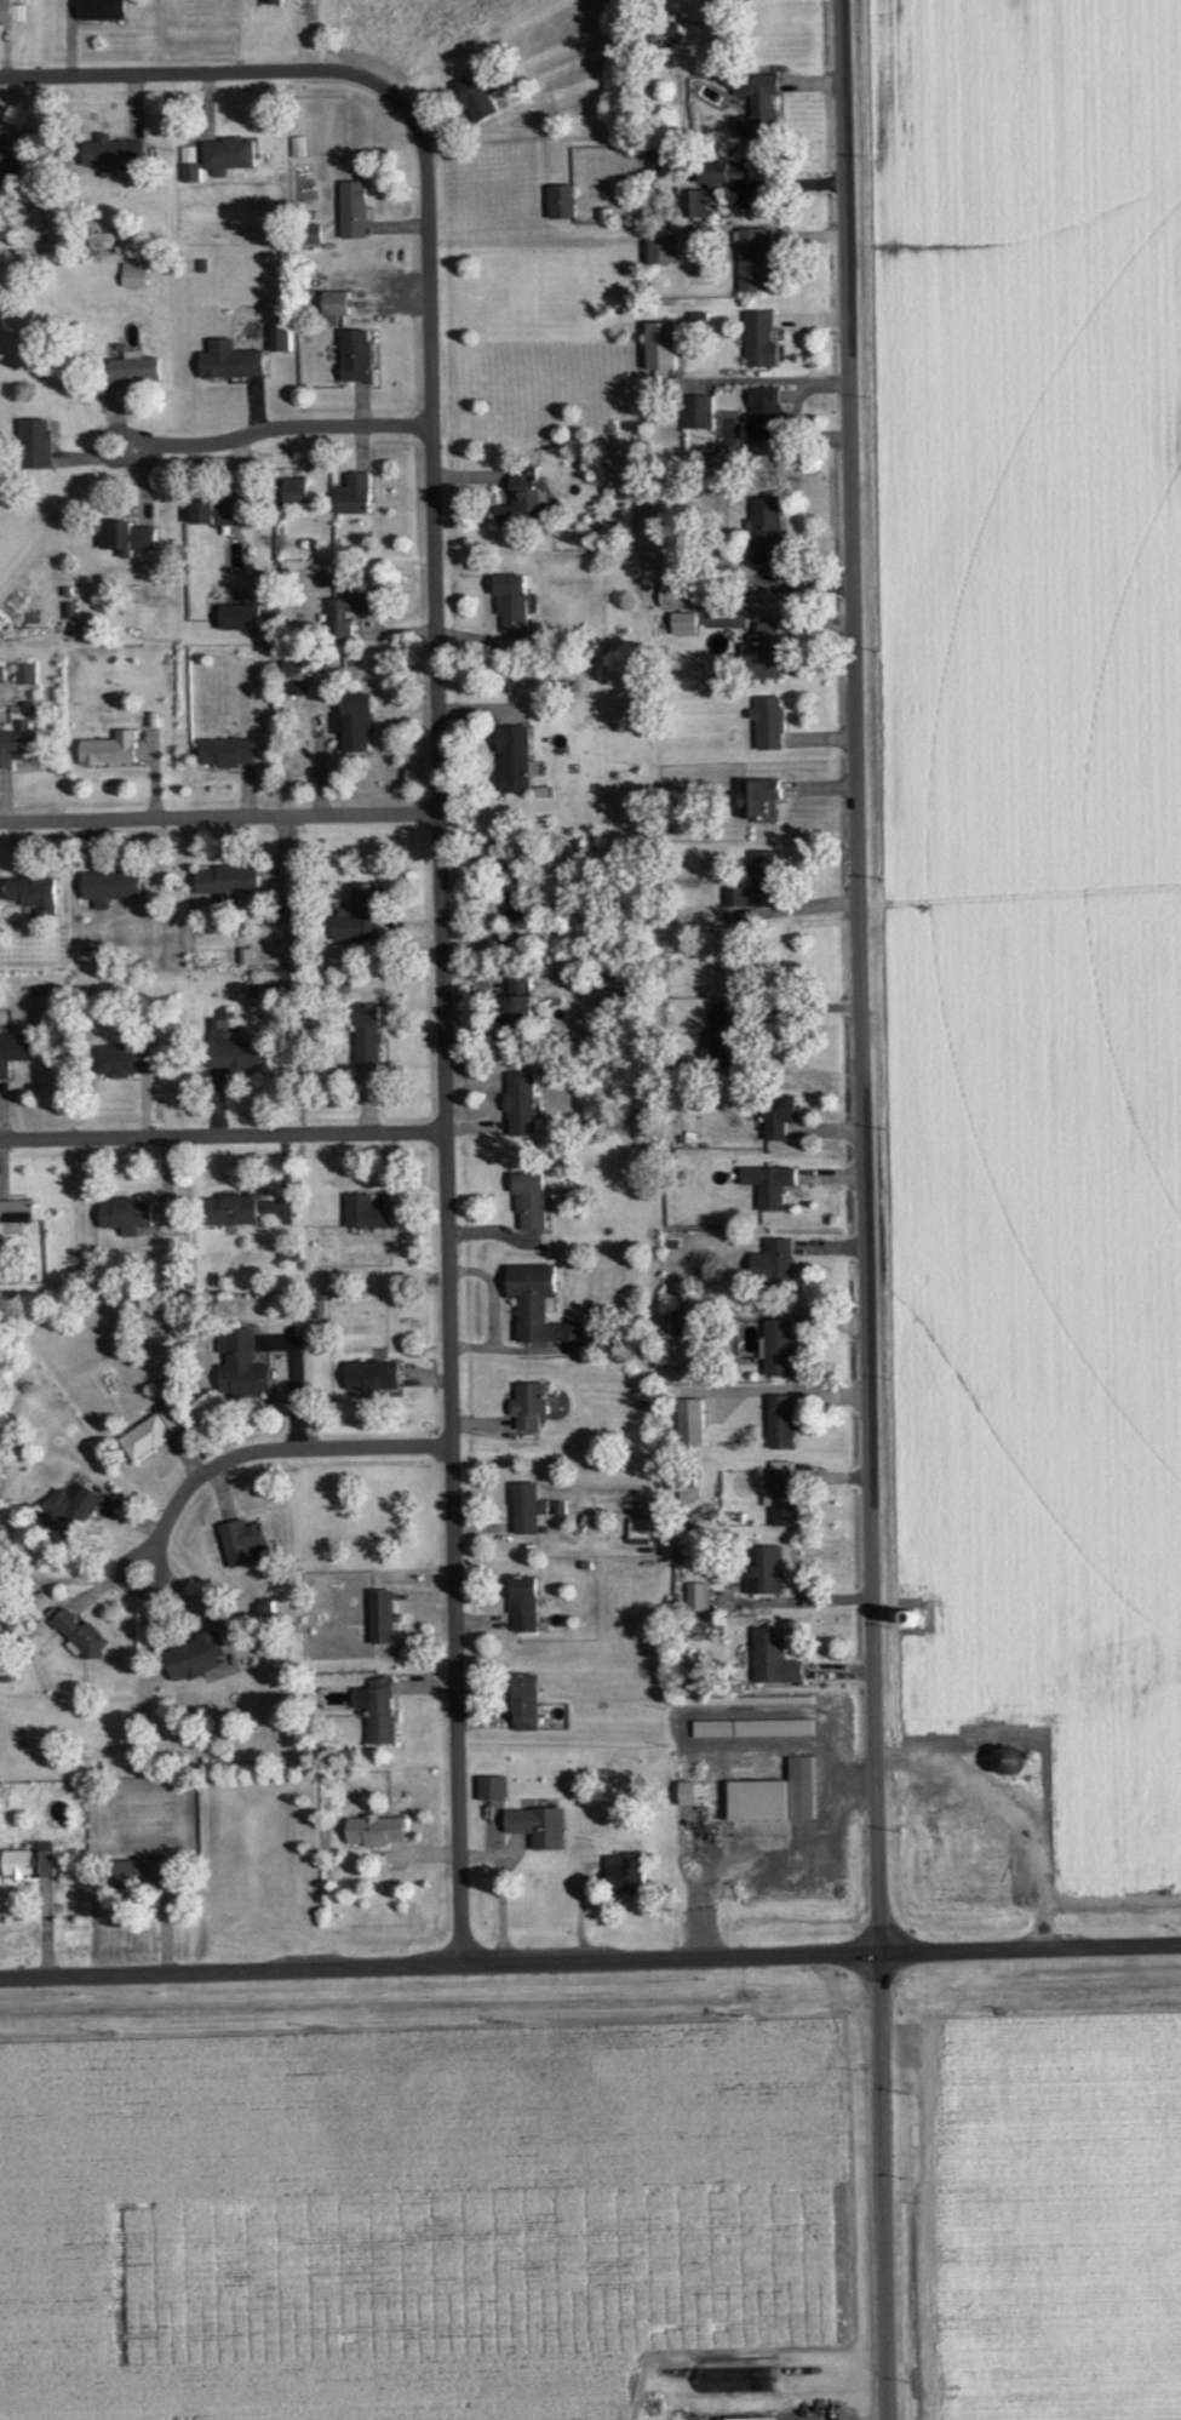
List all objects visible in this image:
building: (736, 0)
building: (270, 2)
building: (109, 11)
building: (12, 12)
building: (670, 30)
building: (476, 97)
building: (758, 105)
building: (299, 148)
building: (15, 159)
building: (710, 187)
building: (561, 204)
building: (352, 211)
road: (728, 227)
building: (311, 235)
building: (660, 253)
building: (753, 259)
building: (136, 275)
building: (334, 304)
building: (280, 338)
building: (761, 339)
building: (660, 345)
building: (356, 355)
building: (230, 361)
building: (134, 370)
building: (698, 412)
building: (764, 413)
road: (289, 423)
road: (113, 429)
building: (35, 444)
building: (294, 491)
building: (352, 496)
building: (523, 499)
building: (217, 511)
building: (766, 531)
building: (125, 537)
building: (511, 602)
building: (345, 613)
building: (684, 624)
building: (763, 652)
building: (292, 666)
building: (2, 674)
building: (27, 675)
building: (298, 688)
building: (354, 722)
building: (768, 723)
building: (17, 745)
building: (109, 750)
building: (227, 753)
building: (515, 760)
building: (757, 800)
road: (219, 812)
road: (440, 823)
building: (227, 881)
building: (755, 885)
building: (110, 886)
building: (33, 893)
building: (282, 910)
building: (357, 916)
building: (516, 1005)
building: (720, 1030)
building: (366, 1034)
building: (231, 1051)
building: (12, 1052)
building: (122, 1062)
building: (520, 1105)
building: (779, 1116)
road: (223, 1131)
building: (769, 1185)
building: (528, 1201)
road: (861, 1209)
building: (230, 1211)
building: (16, 1212)
building: (366, 1213)
building: (124, 1215)
building: (774, 1262)
building: (537, 1305)
building: (682, 1318)
building: (779, 1349)
building: (239, 1366)
building: (369, 1377)
building: (528, 1406)
building: (781, 1423)
building: (689, 1424)
building: (150, 1434)
road: (282, 1447)
building: (686, 1491)
building: (782, 1494)
building: (68, 1509)
building: (526, 1509)
building: (638, 1531)
building: (210, 1541)
building: (240, 1543)
building: (764, 1571)
road: (128, 1586)
building: (698, 1598)
building: (523, 1604)
building: (36, 1607)
building: (382, 1618)
building: (79, 1636)
building: (191, 1658)
building: (773, 1659)
building: (523, 1704)
building: (380, 1712)
building: (772, 1728)
building: (712, 1729)
building: (1004, 1762)
building: (799, 1789)
building: (492, 1790)
building: (690, 1795)
building: (755, 1802)
road: (739, 1819)
building: (537, 1827)
building: (373, 1831)
building: (28, 1863)
building: (134, 1873)
building: (624, 1873)
road: (1068, 1945)
road: (477, 1960)
building: (753, 2419)

